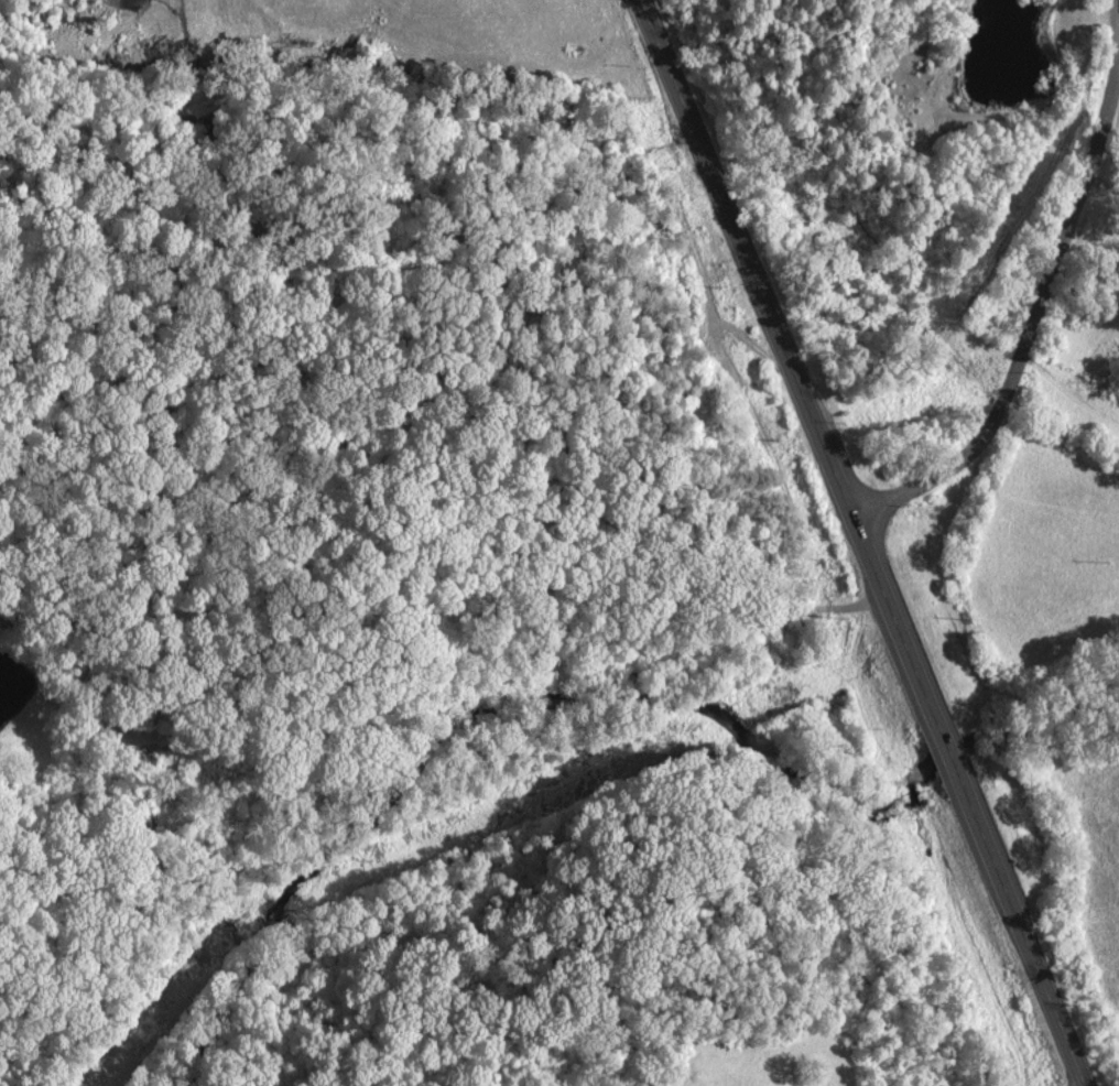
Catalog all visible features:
road: (1037, 321)
road: (867, 542)

